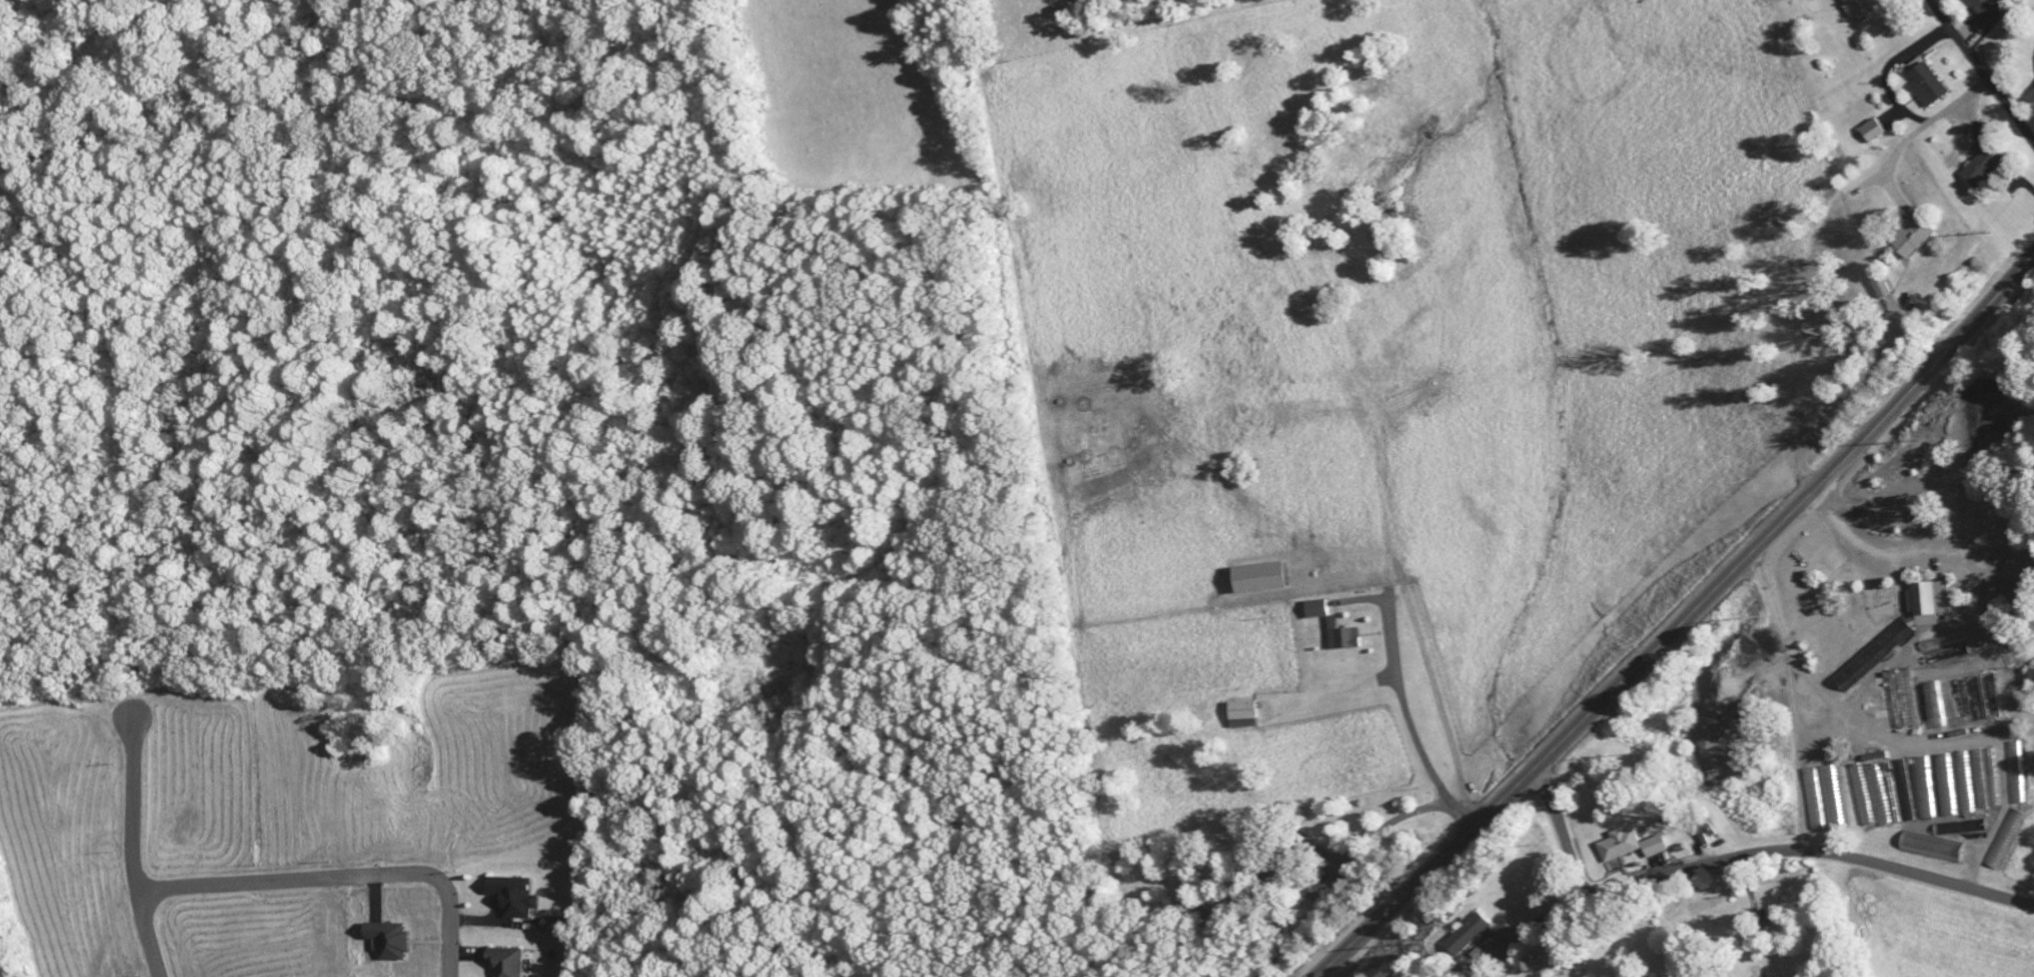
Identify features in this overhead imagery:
building: (1861, 12)
building: (1988, 14)
road: (1982, 72)
building: (1929, 88)
building: (2031, 102)
building: (1871, 133)
building: (1982, 168)
building: (1917, 239)
building: (1884, 289)
building: (1262, 580)
building: (1928, 605)
building: (1315, 611)
road: (1683, 625)
building: (1343, 641)
building: (1873, 656)
building: (2032, 679)
road: (1840, 693)
building: (1933, 708)
building: (1243, 717)
building: (2010, 760)
building: (1960, 774)
building: (1983, 781)
building: (1943, 788)
building: (1922, 791)
building: (1860, 798)
building: (1829, 799)
building: (1888, 801)
building: (1811, 802)
building: (1965, 811)
road: (1560, 832)
road: (135, 840)
building: (2002, 841)
building: (1619, 847)
building: (1654, 849)
road: (1739, 859)
road: (340, 879)
building: (518, 898)
building: (555, 927)
building: (1469, 937)
building: (390, 943)
building: (509, 963)

